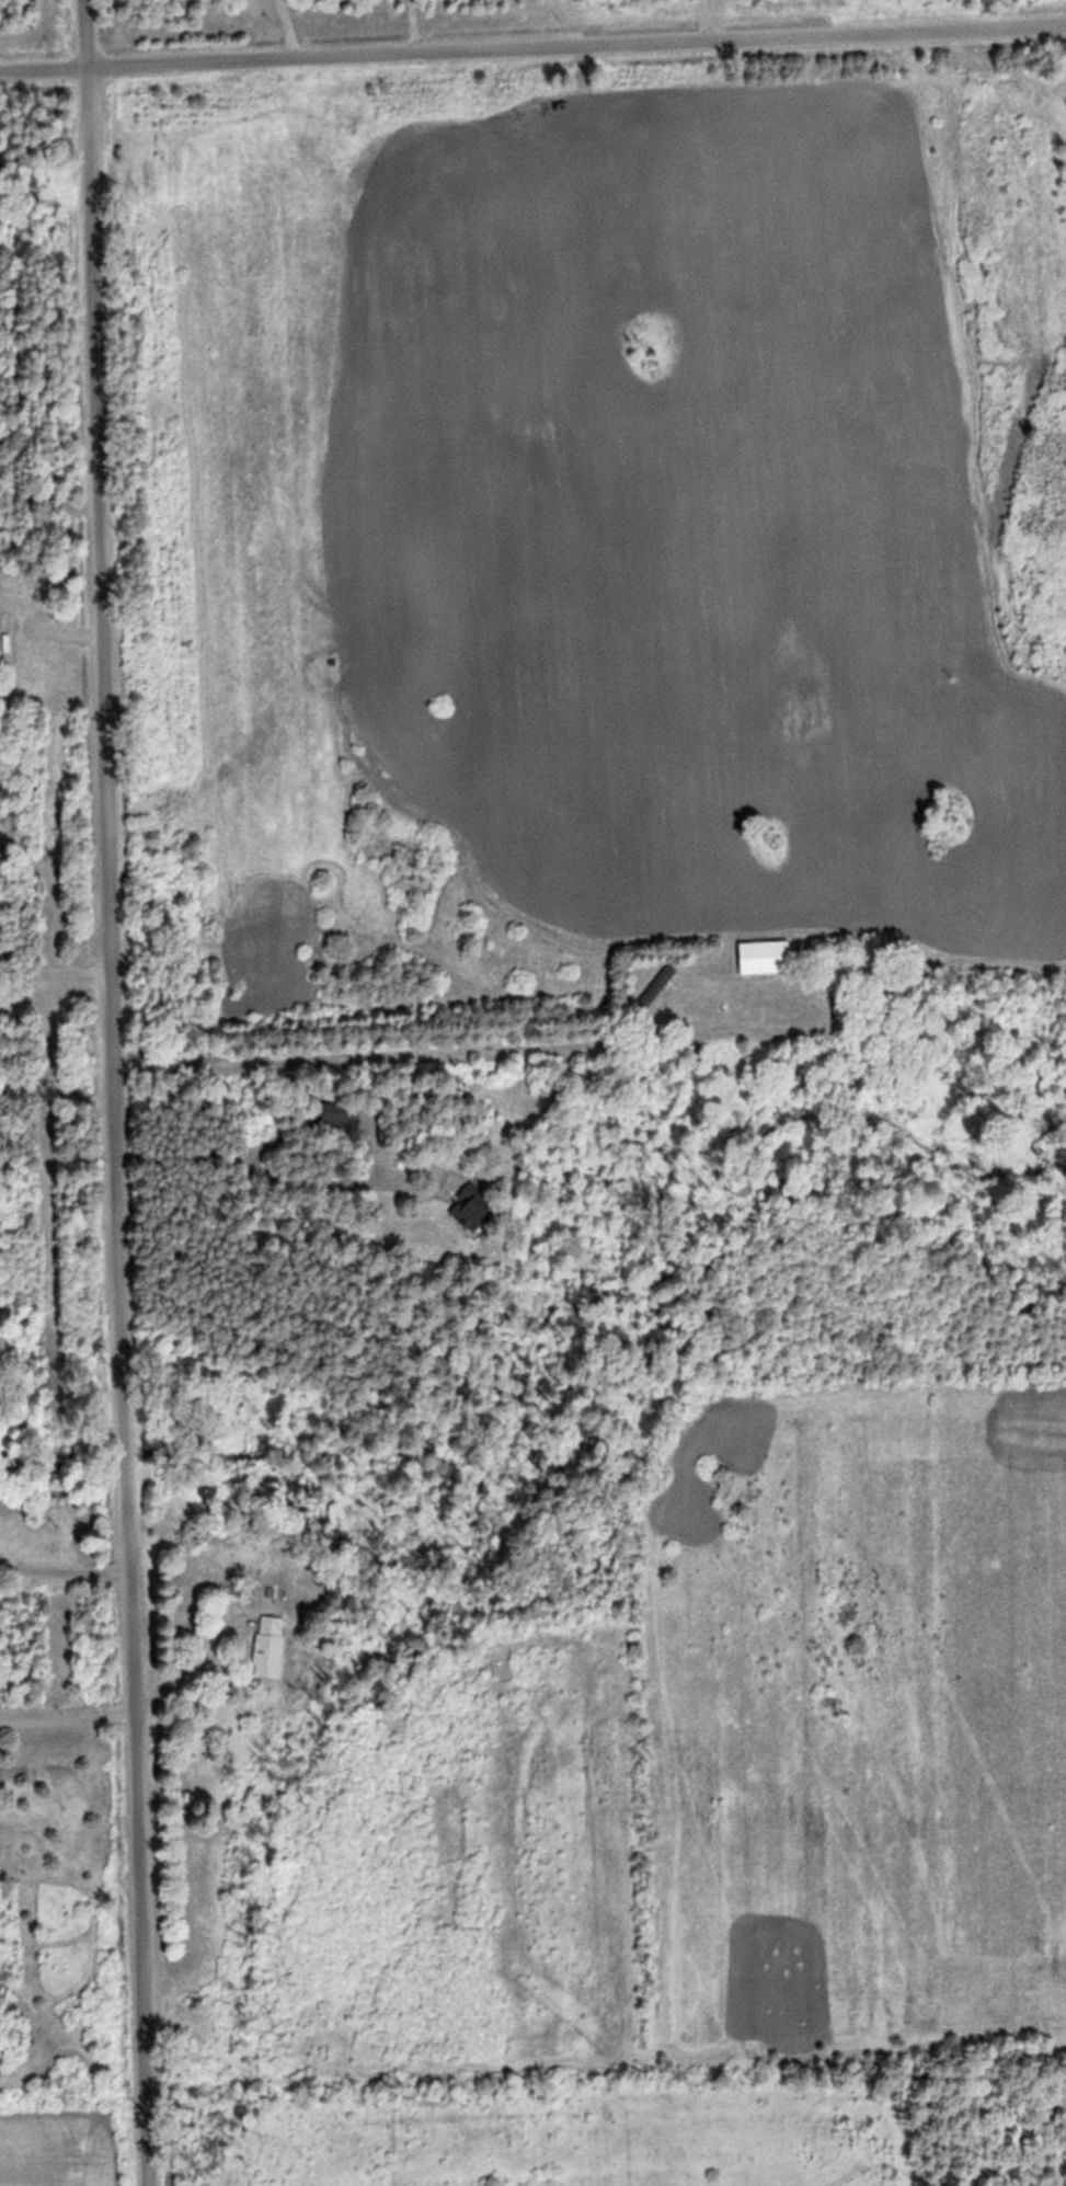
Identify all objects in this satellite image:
road: (532, 49)
building: (8, 637)
road: (440, 918)
building: (0, 941)
building: (766, 958)
road: (111, 1092)
building: (343, 1117)
building: (474, 1209)
building: (273, 1648)

